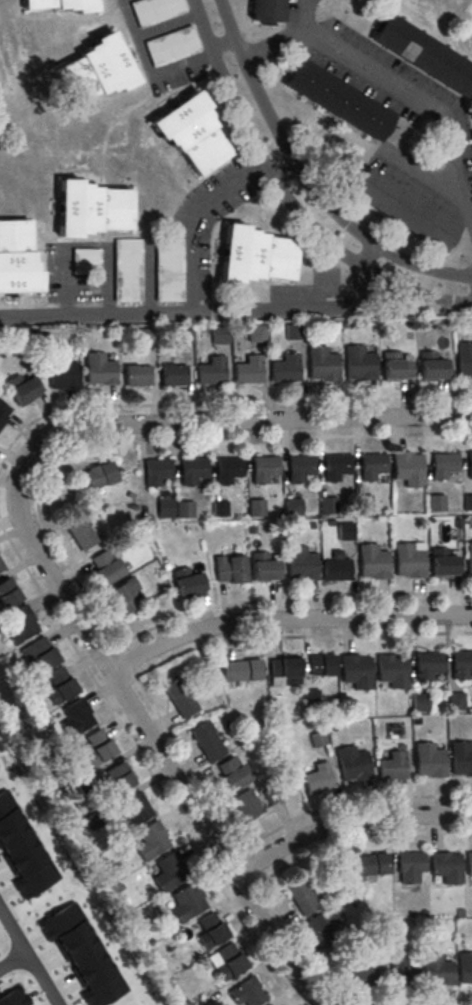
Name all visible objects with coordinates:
building: (61, 4)
building: (265, 10)
building: (155, 11)
road: (168, 26)
road: (272, 40)
parking lot: (164, 42)
road: (222, 45)
building: (170, 47)
building: (423, 54)
road: (148, 68)
building: (94, 69)
road: (407, 90)
building: (337, 99)
building: (190, 132)
building: (465, 142)
road: (422, 169)
road: (285, 173)
road: (302, 183)
road: (289, 196)
building: (90, 208)
building: (404, 208)
road: (196, 223)
road: (88, 243)
parking lot: (153, 250)
building: (256, 255)
building: (16, 257)
building: (85, 262)
building: (127, 271)
building: (168, 271)
road: (206, 317)
building: (292, 334)
building: (256, 335)
building: (219, 336)
building: (182, 337)
building: (143, 339)
building: (463, 359)
building: (321, 364)
building: (357, 364)
building: (395, 365)
building: (432, 366)
building: (286, 369)
building: (211, 370)
building: (248, 370)
building: (98, 371)
building: (61, 374)
building: (173, 377)
building: (136, 378)
building: (22, 388)
road: (262, 402)
building: (4, 412)
road: (241, 422)
road: (20, 432)
road: (264, 439)
building: (443, 464)
building: (469, 464)
building: (371, 465)
building: (336, 466)
building: (300, 467)
building: (228, 468)
building: (264, 468)
building: (407, 468)
building: (193, 469)
building: (157, 470)
building: (96, 475)
building: (467, 504)
building: (435, 505)
building: (327, 507)
building: (255, 509)
building: (291, 509)
building: (219, 511)
building: (164, 512)
building: (184, 512)
building: (78, 533)
building: (345, 533)
road: (57, 552)
building: (469, 557)
building: (409, 560)
building: (373, 561)
building: (302, 563)
building: (1, 566)
building: (106, 566)
building: (441, 566)
building: (230, 567)
building: (1, 570)
building: (335, 572)
building: (263, 573)
building: (189, 580)
building: (8, 596)
building: (122, 596)
road: (285, 620)
building: (18, 627)
building: (40, 654)
road: (119, 654)
building: (461, 663)
building: (428, 664)
building: (321, 668)
building: (392, 670)
building: (240, 674)
building: (356, 675)
building: (284, 676)
building: (60, 685)
building: (179, 697)
building: (310, 699)
building: (419, 700)
building: (455, 700)
building: (77, 715)
road: (138, 719)
building: (317, 738)
building: (205, 741)
building: (98, 746)
building: (427, 760)
building: (461, 761)
building: (351, 764)
building: (392, 765)
road: (145, 766)
building: (232, 773)
building: (118, 776)
building: (317, 778)
building: (271, 795)
building: (246, 803)
road: (350, 803)
building: (137, 809)
road: (345, 822)
road: (360, 838)
building: (149, 842)
building: (22, 850)
road: (239, 852)
building: (468, 863)
building: (367, 864)
building: (409, 866)
building: (446, 866)
building: (168, 871)
building: (302, 897)
building: (186, 901)
building: (323, 926)
building: (209, 931)
building: (82, 954)
road: (28, 958)
road: (12, 960)
building: (228, 961)
building: (359, 967)
building: (464, 967)
building: (437, 969)
building: (401, 975)
road: (304, 989)
building: (246, 992)
building: (14, 997)

